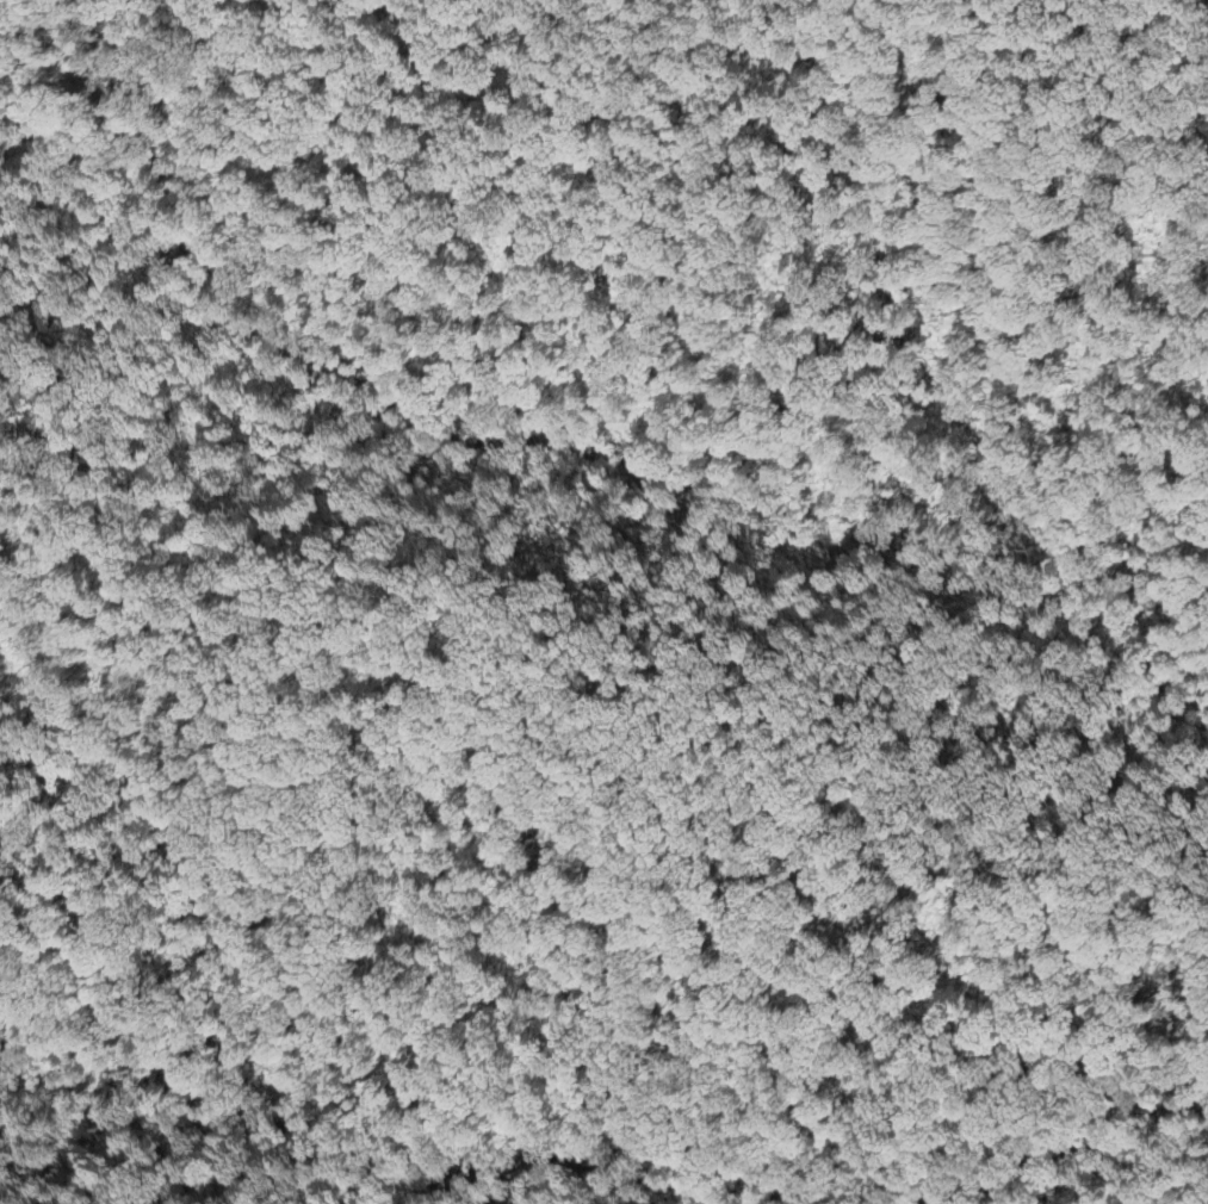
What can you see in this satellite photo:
road: (692, 434)

